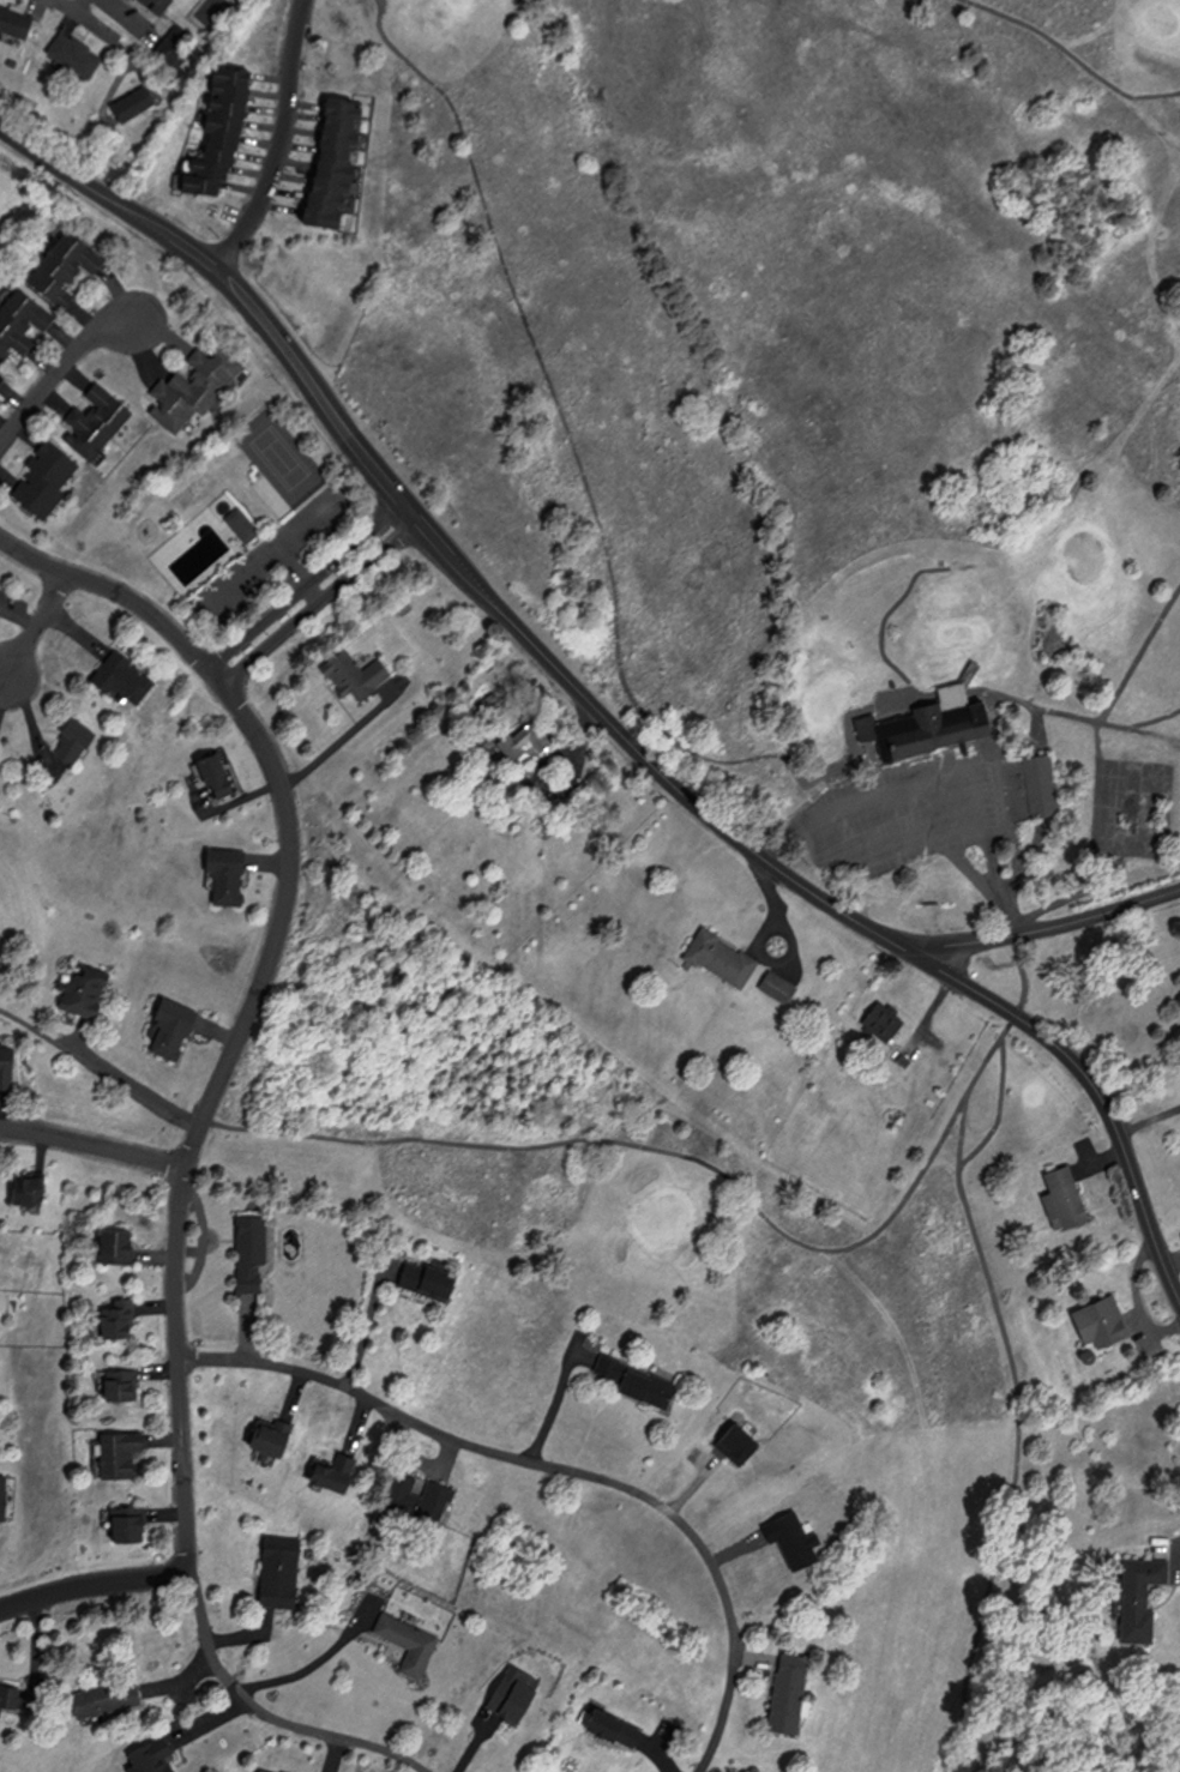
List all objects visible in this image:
road: (80, 6)
building: (158, 6)
road: (85, 18)
building: (16, 23)
building: (179, 46)
building: (77, 56)
building: (137, 106)
building: (224, 131)
road: (284, 139)
building: (337, 165)
building: (65, 269)
building: (22, 323)
road: (60, 372)
building: (4, 379)
building: (199, 388)
building: (98, 423)
building: (47, 481)
building: (245, 526)
road: (308, 586)
road: (321, 605)
road: (41, 625)
road: (536, 645)
building: (357, 676)
park: (818, 680)
building: (125, 681)
building: (934, 725)
road: (344, 741)
building: (76, 742)
building: (0, 745)
building: (528, 745)
building: (218, 777)
parking lot: (913, 783)
building: (1043, 786)
parking lot: (946, 806)
building: (229, 876)
building: (723, 960)
building: (781, 989)
building: (85, 992)
building: (886, 1023)
building: (174, 1029)
building: (904, 1059)
building: (7, 1068)
road: (1086, 1073)
road: (221, 1083)
road: (134, 1087)
road: (94, 1145)
building: (30, 1192)
building: (1067, 1199)
building: (119, 1244)
building: (254, 1249)
building: (431, 1280)
building: (121, 1319)
building: (1104, 1322)
road: (369, 1331)
building: (644, 1379)
building: (124, 1385)
building: (273, 1435)
building: (121, 1452)
road: (561, 1469)
building: (338, 1470)
building: (4, 1495)
building: (420, 1497)
building: (131, 1523)
building: (282, 1572)
building: (1143, 1596)
building: (411, 1643)
road: (315, 1665)
building: (791, 1693)
building: (10, 1696)
building: (108, 1698)
road: (269, 1716)
building: (615, 1728)
building: (266, 1771)
building: (288, 1771)

